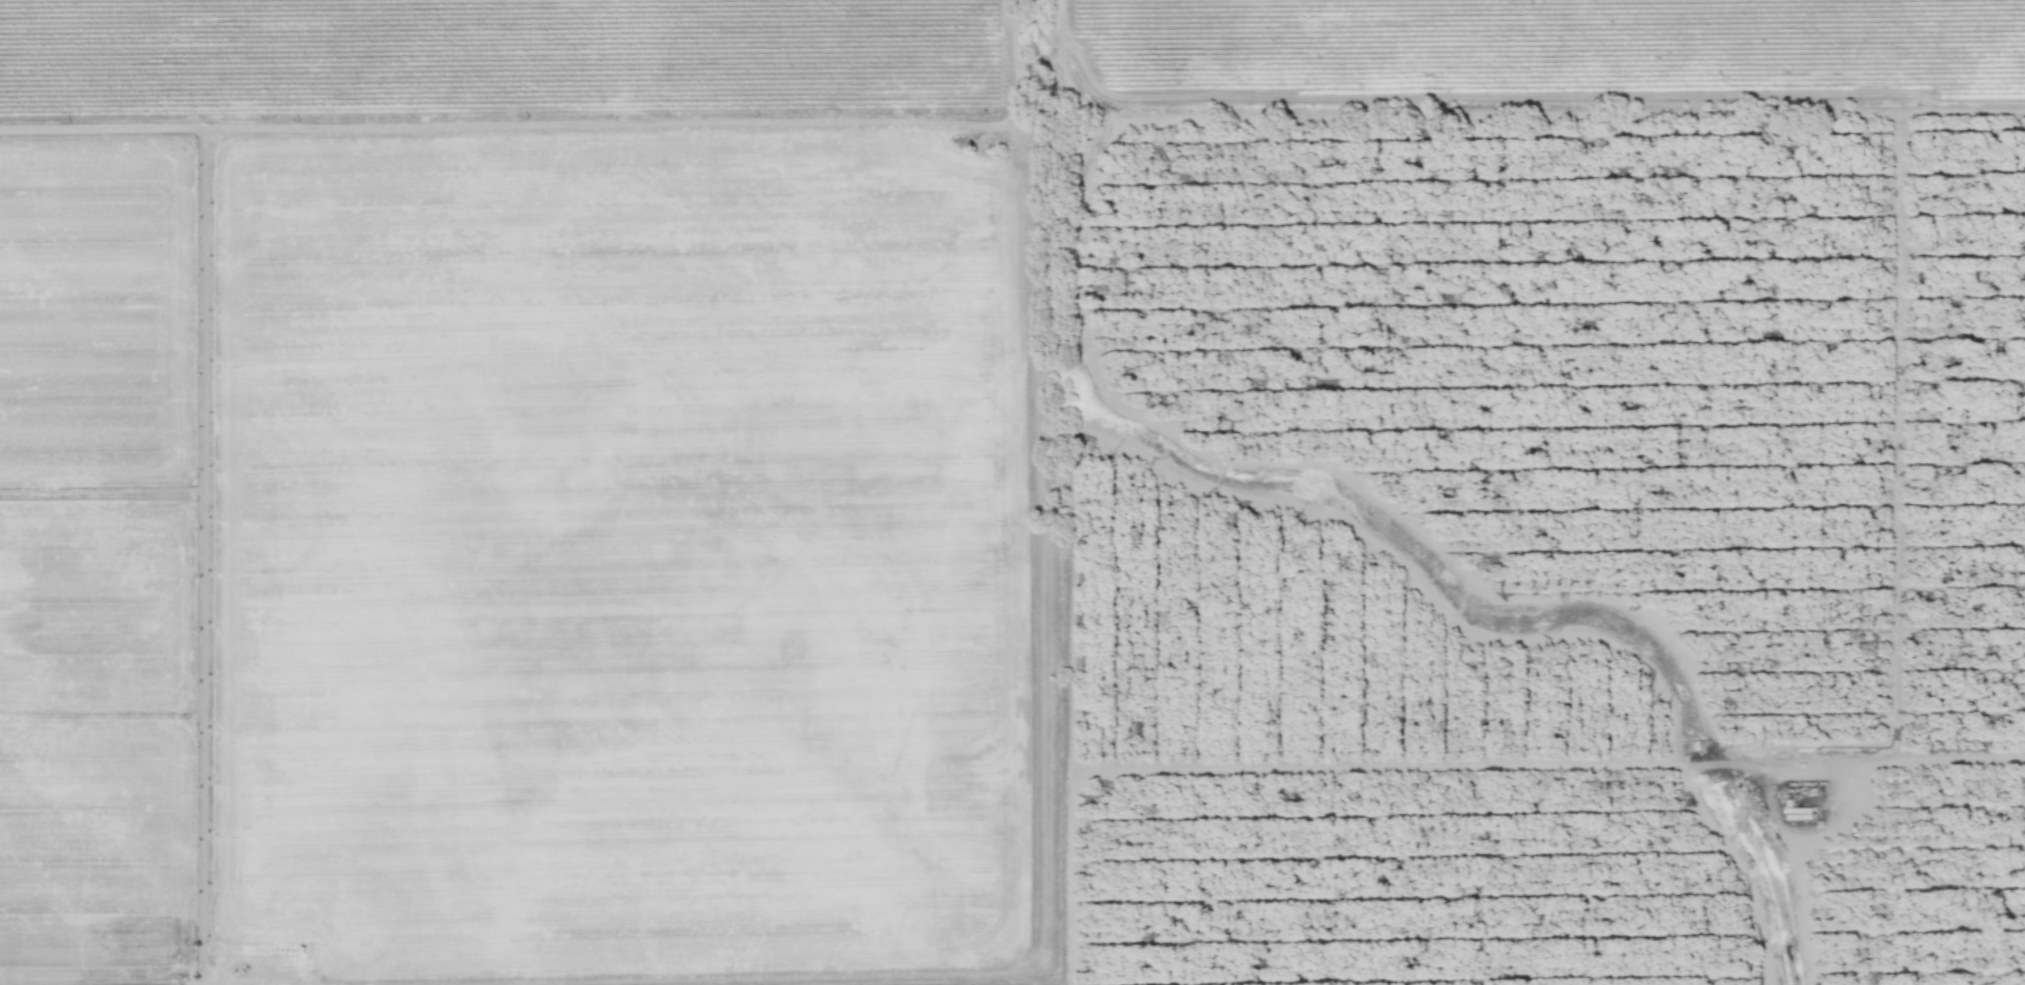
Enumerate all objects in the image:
road: (203, 456)
road: (1893, 761)

